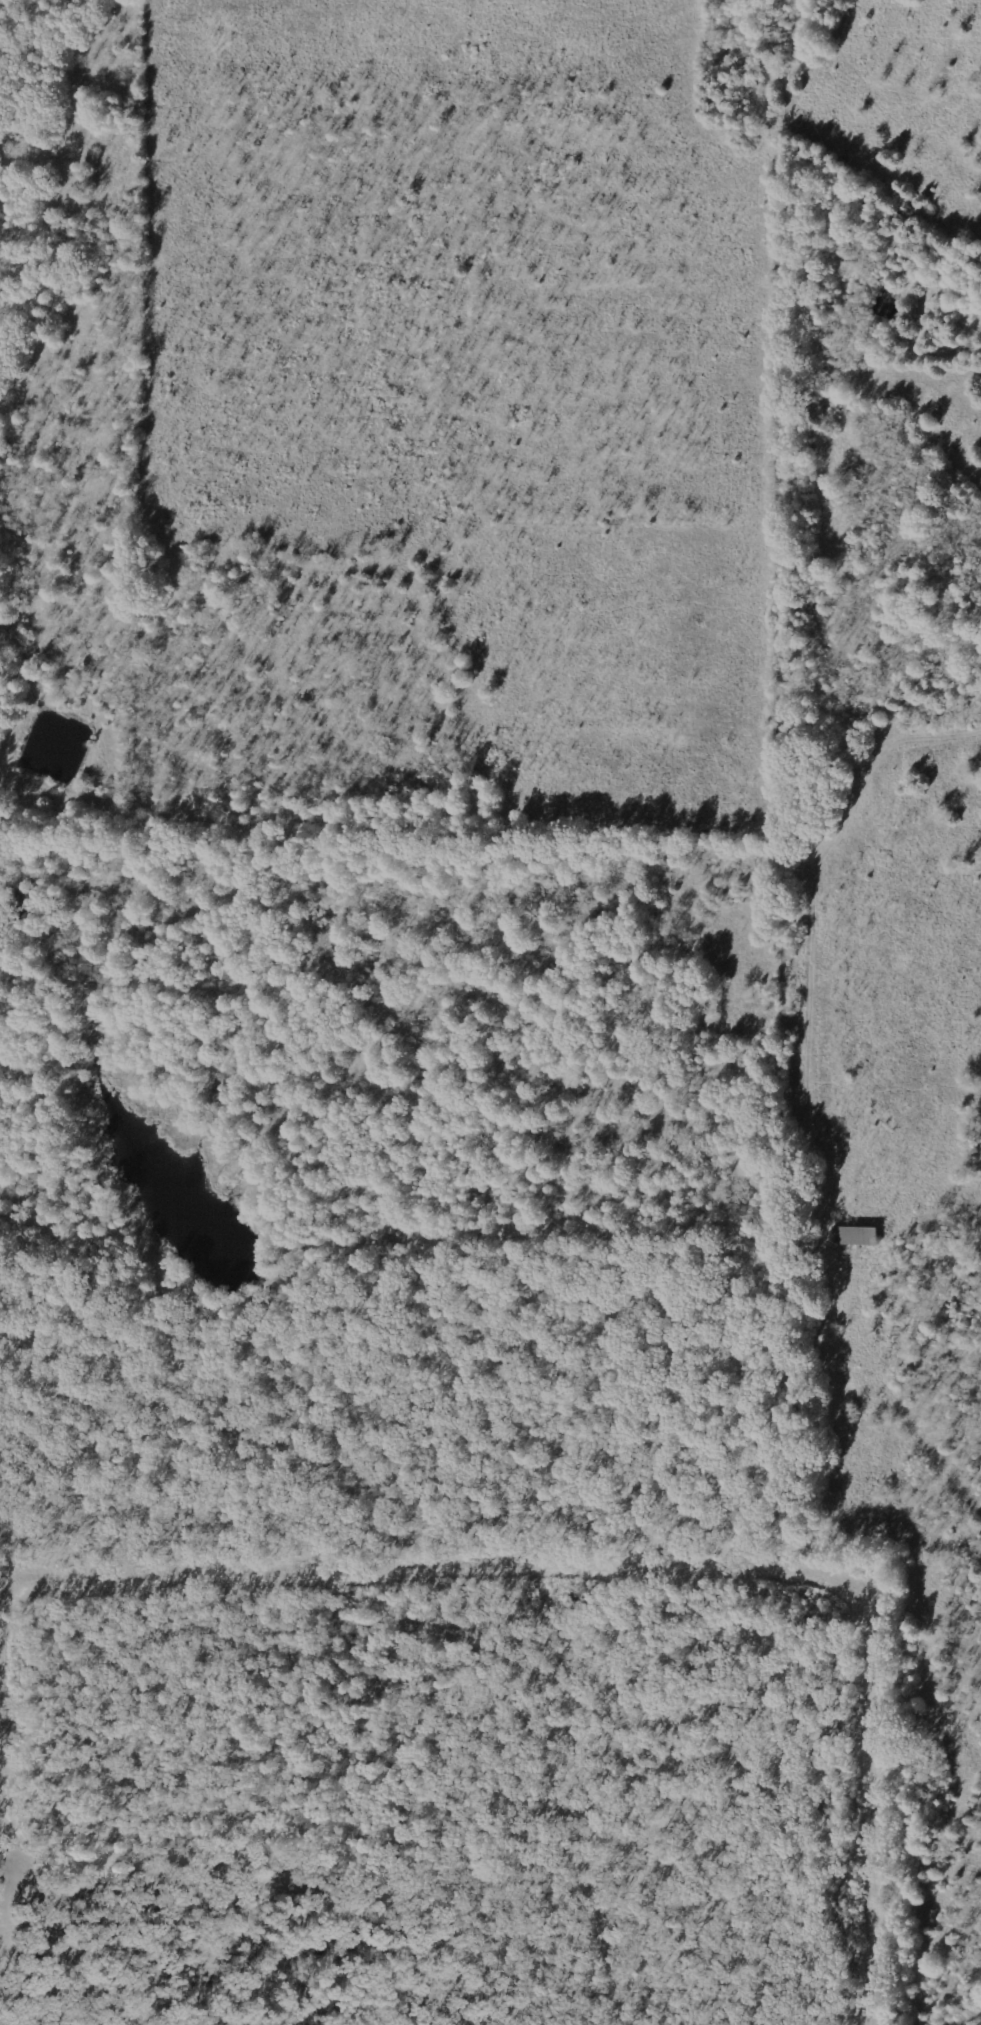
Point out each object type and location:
building: (862, 1236)

